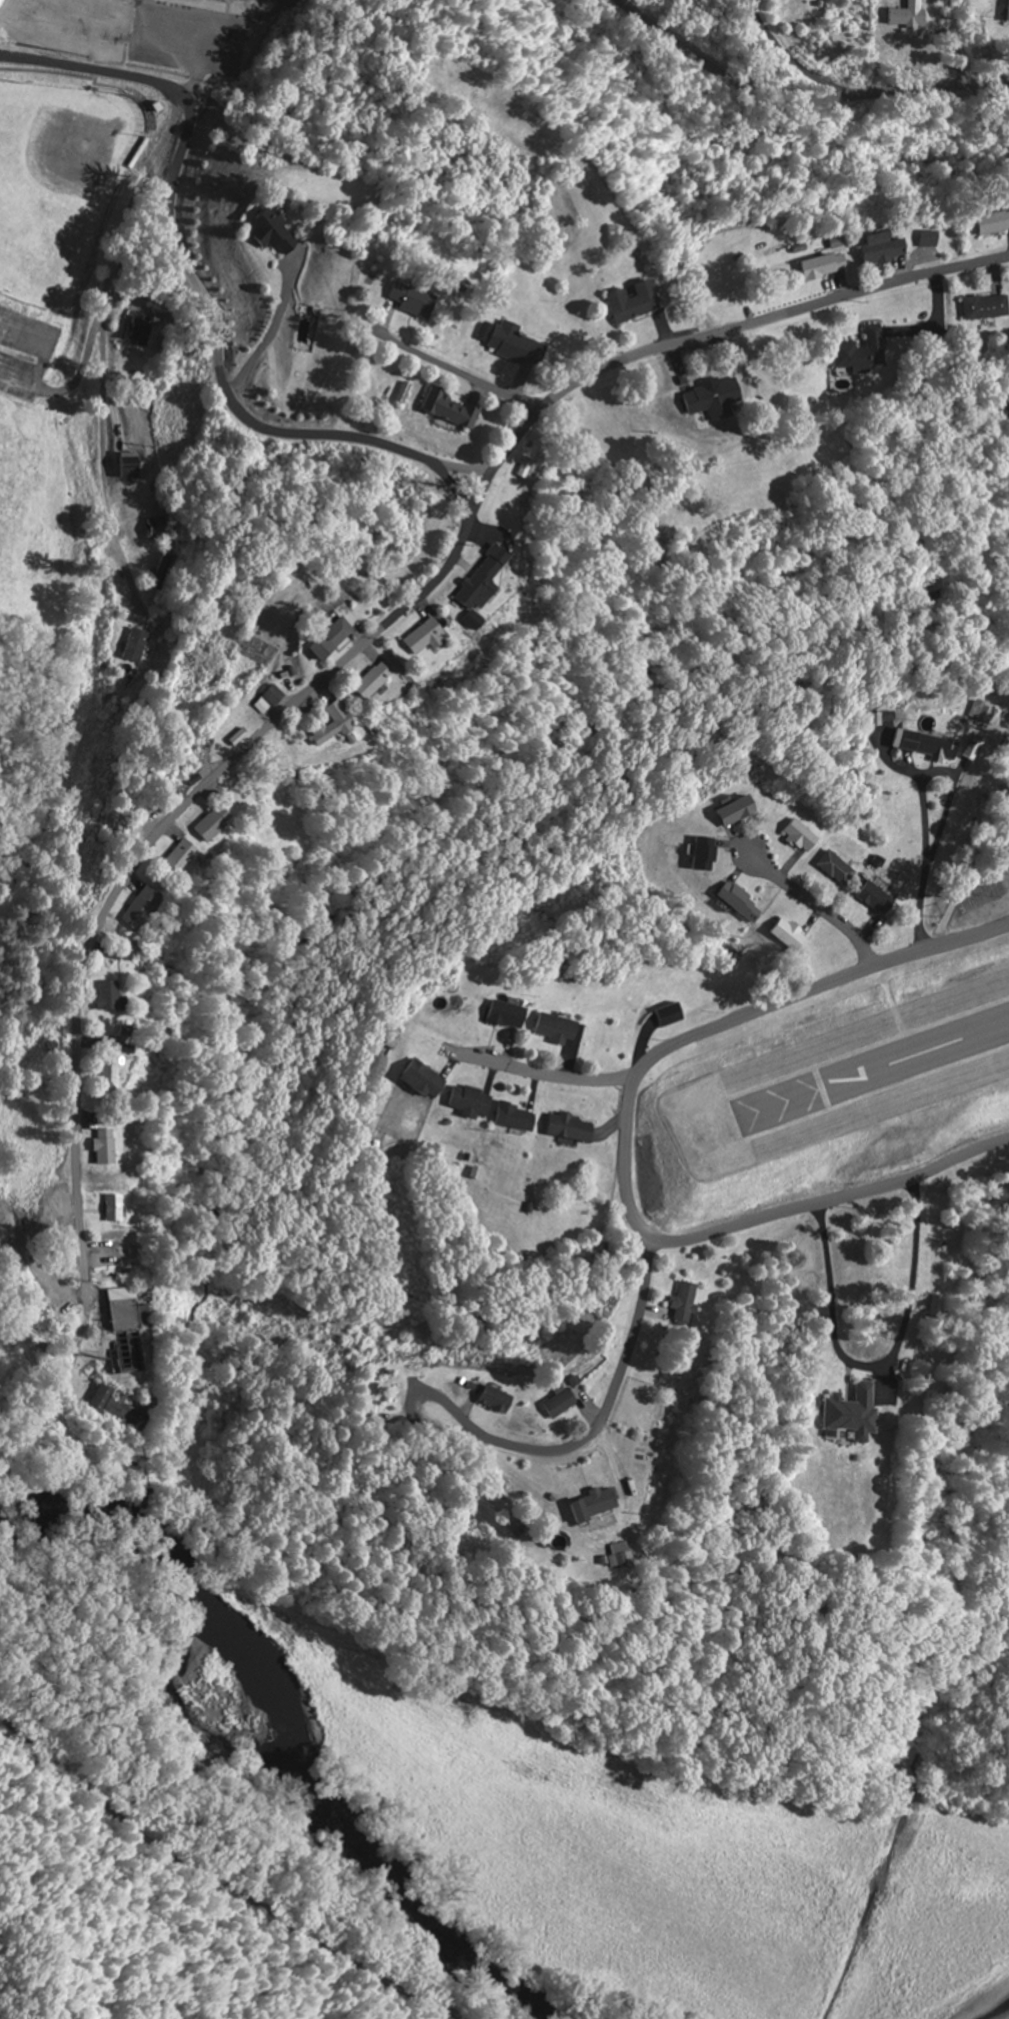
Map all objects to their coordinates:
building: (910, 15)
parking lot: (188, 37)
road: (797, 98)
park: (59, 185)
building: (994, 224)
building: (273, 233)
building: (929, 239)
building: (884, 250)
park: (82, 252)
building: (829, 267)
road: (197, 292)
building: (412, 300)
building: (637, 303)
building: (988, 308)
building: (139, 330)
road: (708, 334)
road: (105, 339)
building: (514, 344)
parking lot: (24, 352)
building: (867, 354)
road: (456, 372)
road: (74, 380)
building: (405, 393)
building: (716, 400)
building: (453, 409)
building: (138, 468)
road: (459, 486)
building: (157, 527)
building: (477, 587)
building: (420, 638)
building: (324, 639)
building: (134, 645)
building: (370, 680)
building: (267, 700)
building: (977, 711)
building: (880, 716)
building: (331, 724)
building: (236, 738)
building: (919, 745)
building: (204, 827)
building: (795, 835)
road: (146, 851)
building: (696, 854)
building: (177, 857)
building: (832, 868)
building: (871, 896)
building: (735, 903)
road: (819, 906)
building: (136, 907)
building: (784, 934)
building: (101, 996)
building: (501, 1015)
building: (664, 1015)
building: (552, 1028)
airport runway: (875, 1069)
road: (542, 1071)
building: (104, 1073)
building: (417, 1079)
building: (465, 1101)
building: (510, 1118)
building: (565, 1128)
road: (628, 1144)
building: (99, 1147)
building: (472, 1173)
building: (113, 1208)
building: (117, 1294)
building: (682, 1303)
building: (138, 1316)
road: (615, 1384)
building: (362, 1398)
building: (492, 1400)
building: (555, 1401)
road: (456, 1412)
building: (846, 1413)
road: (447, 1429)
building: (589, 1505)
building: (618, 1555)
river: (276, 1739)
road: (216, 1877)

